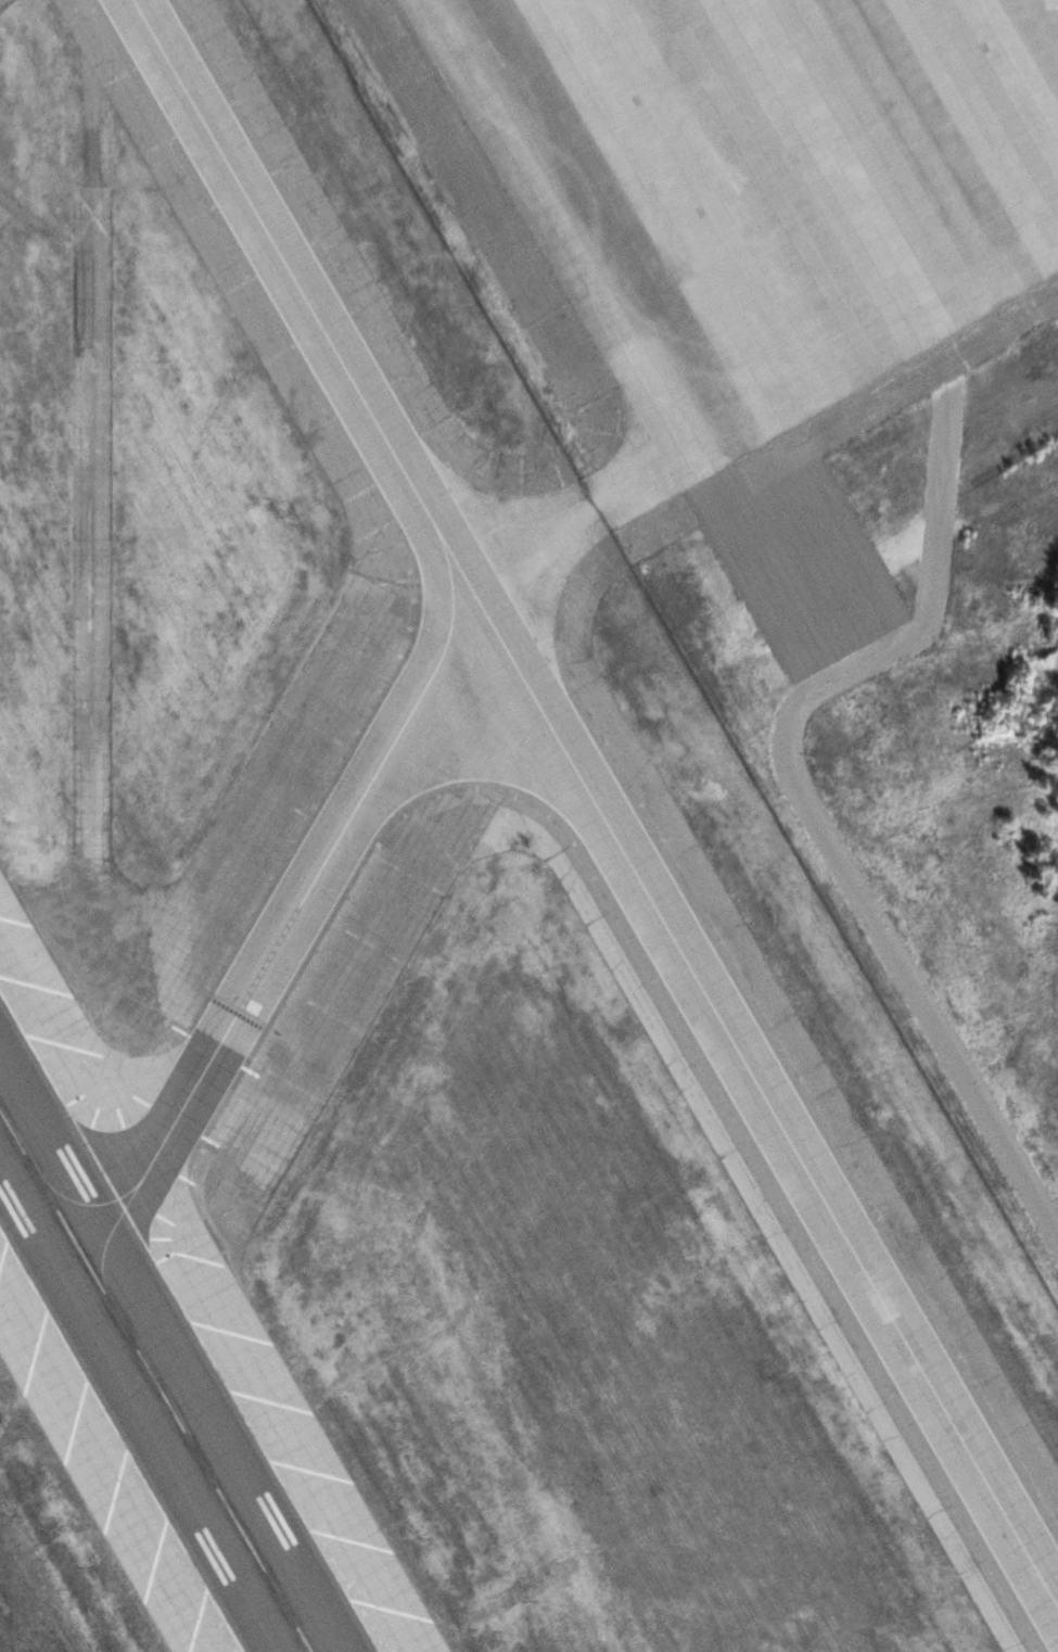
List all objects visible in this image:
airport taxiway: (596, 808)
airport apron: (468, 815)
airport: (528, 826)
airport taxiway: (275, 924)
airport runway: (152, 1387)

